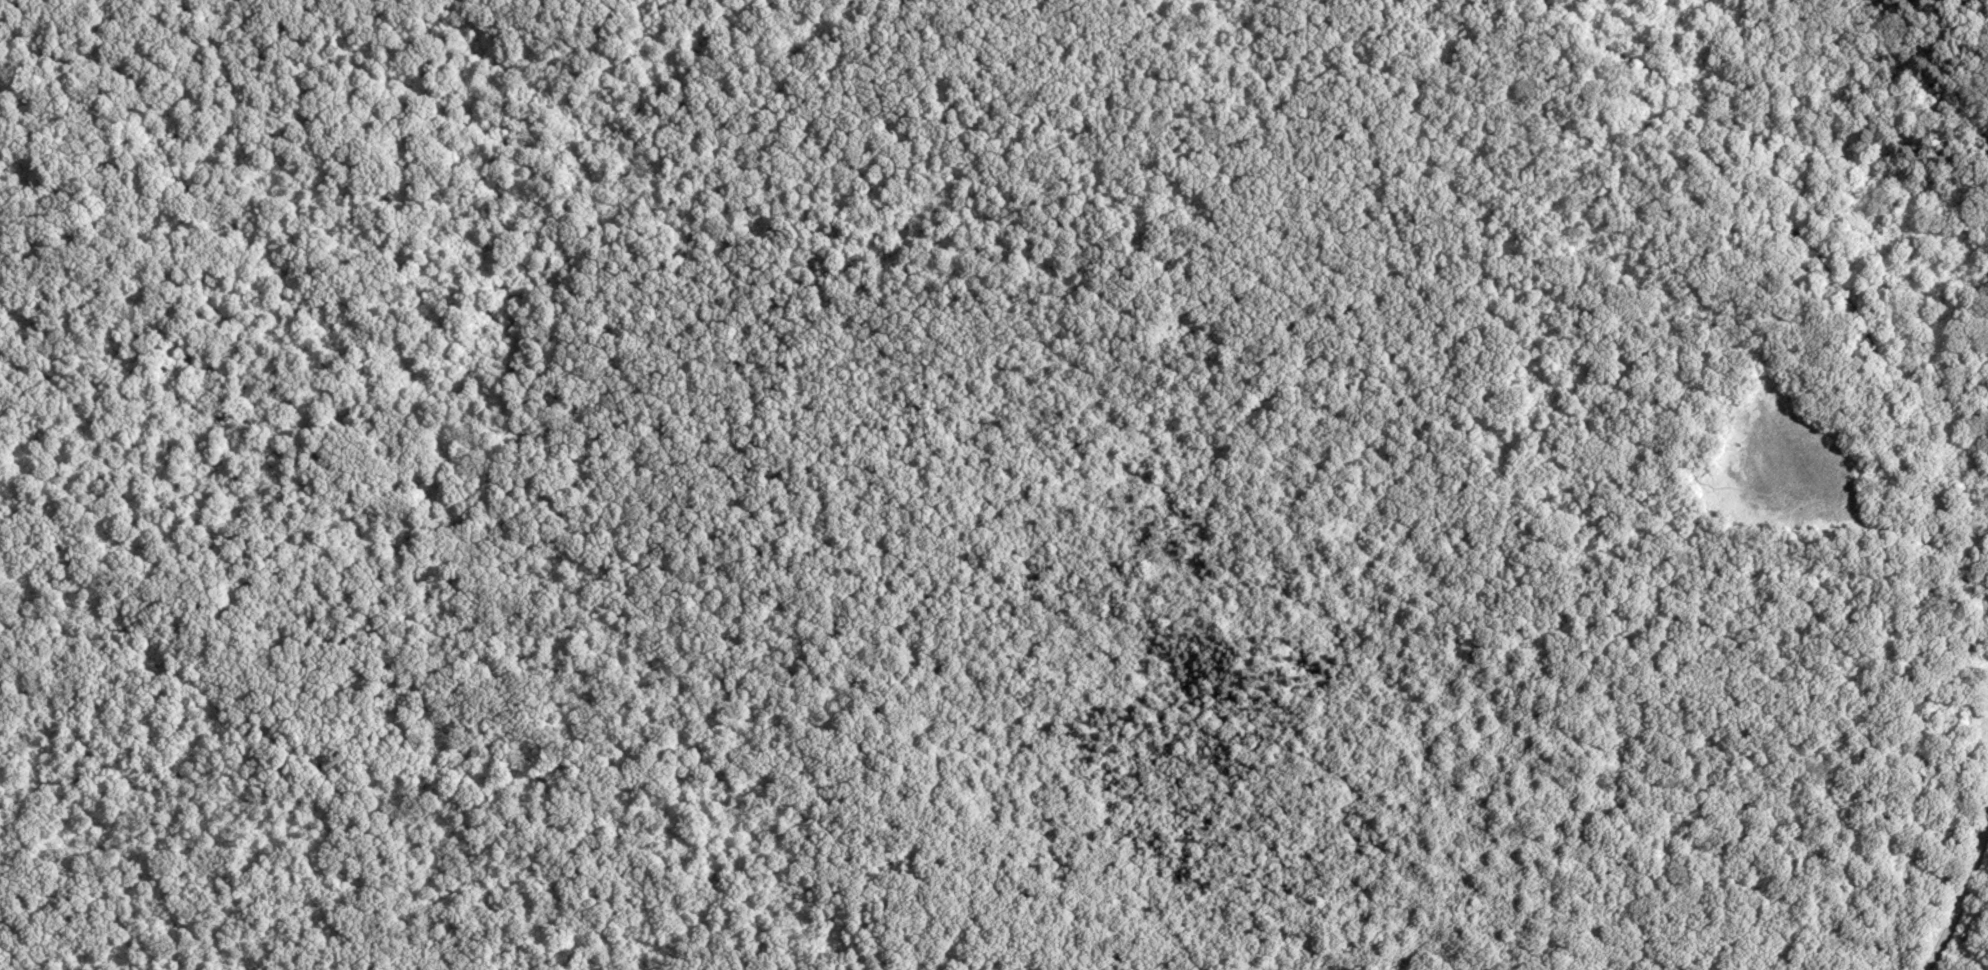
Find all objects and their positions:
road: (1826, 253)
road: (1850, 452)
parking lot: (1985, 682)
road: (1960, 895)

